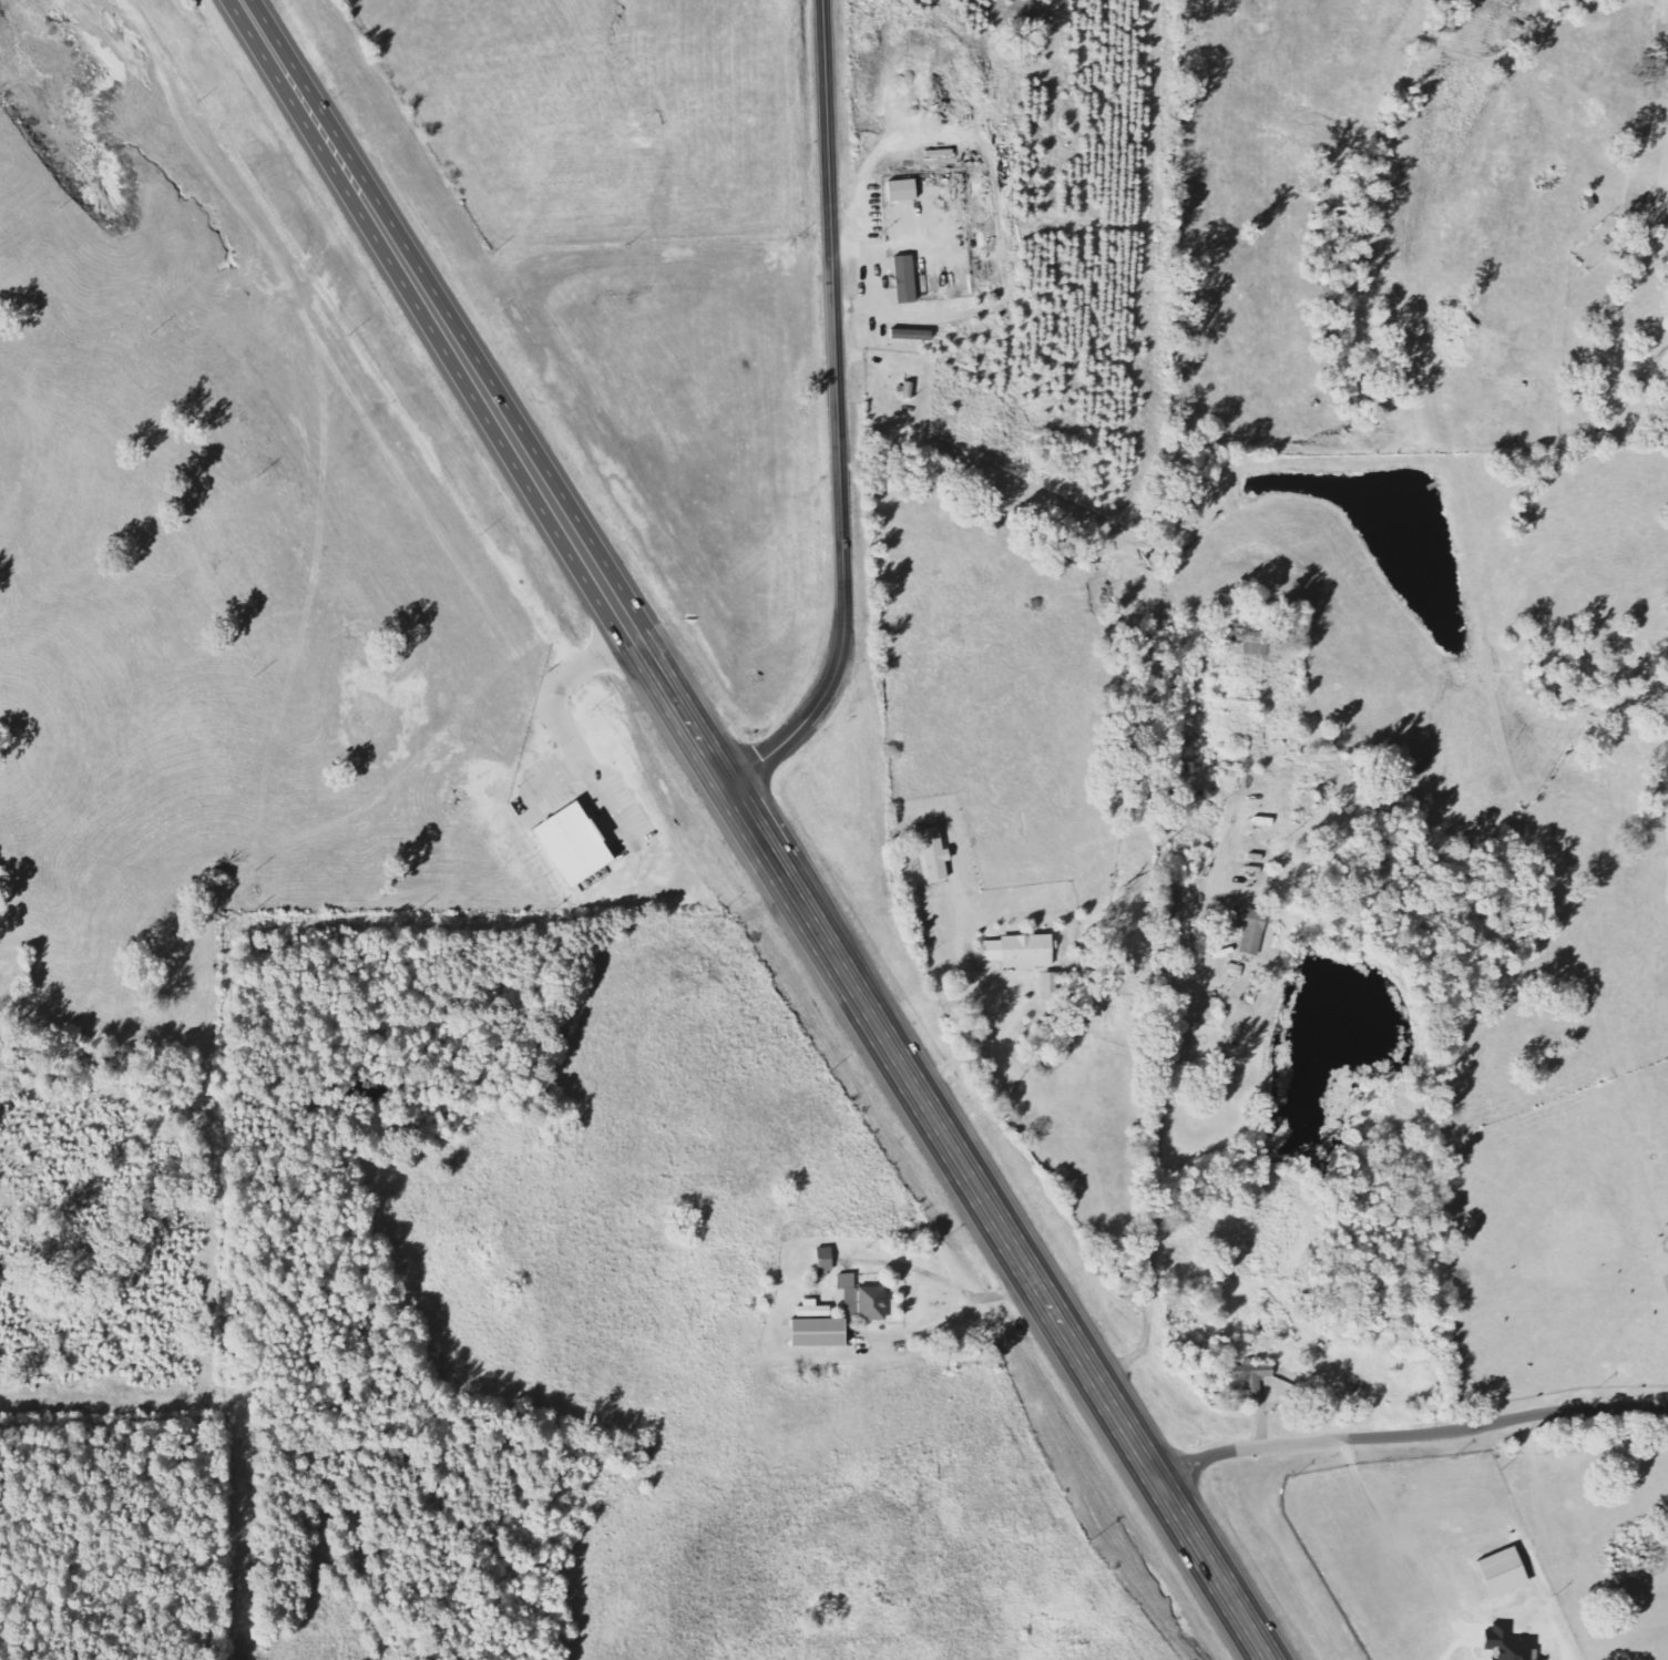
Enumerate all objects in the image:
building: (904, 189)
building: (908, 279)
road: (494, 393)
road: (839, 416)
building: (1255, 643)
building: (1231, 776)
building: (575, 844)
building: (935, 853)
building: (1250, 919)
building: (1023, 951)
road: (1152, 1192)
road: (999, 1223)
building: (827, 1261)
building: (864, 1299)
building: (820, 1326)
road: (1411, 1434)

